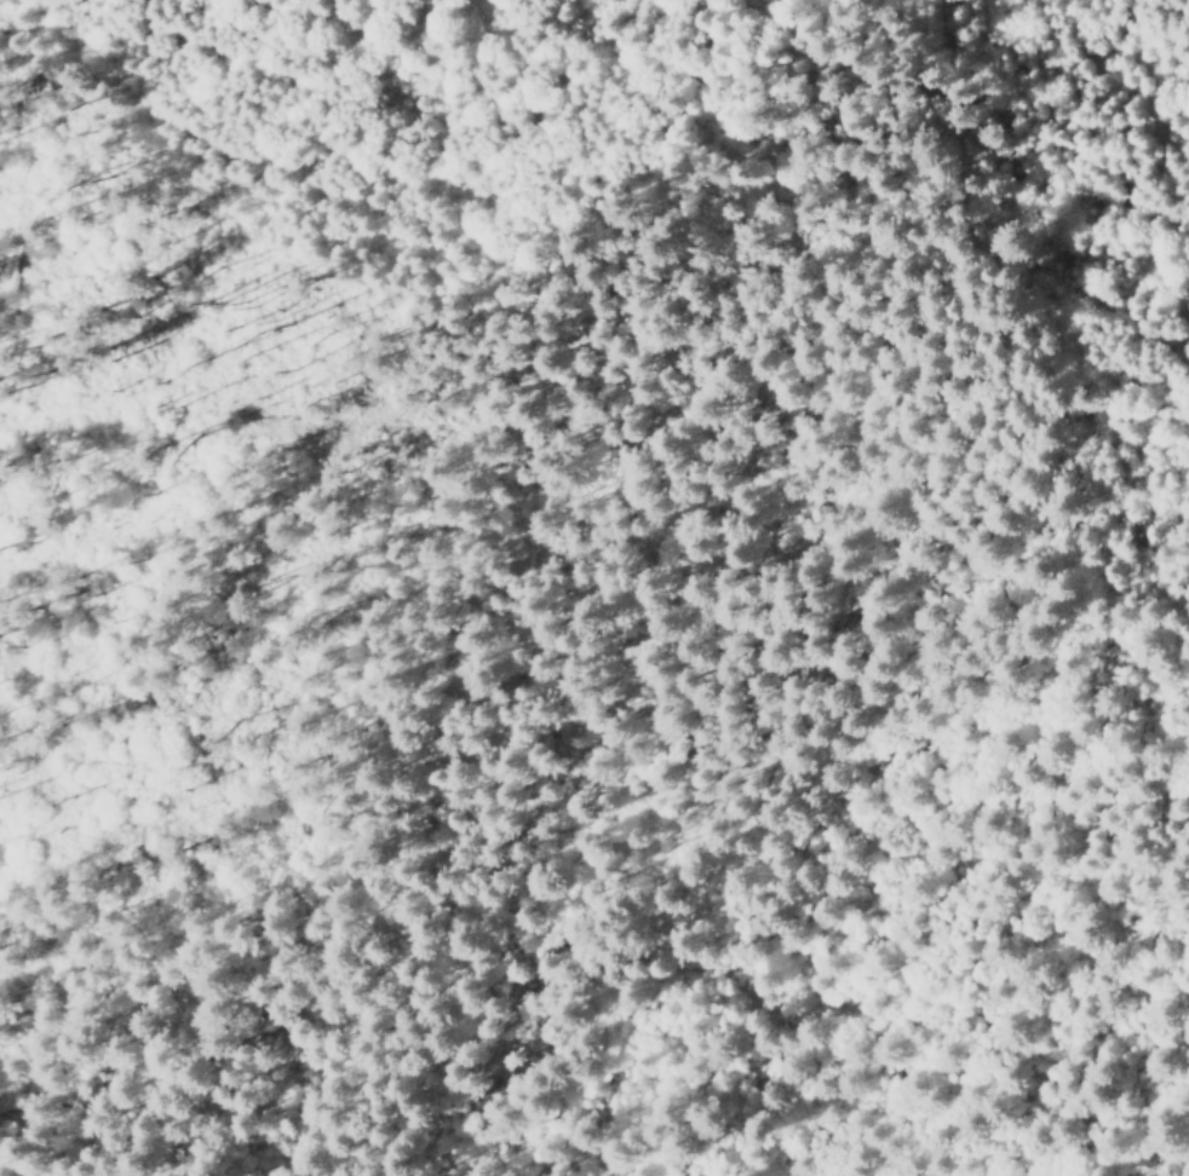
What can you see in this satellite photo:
road: (584, 953)

